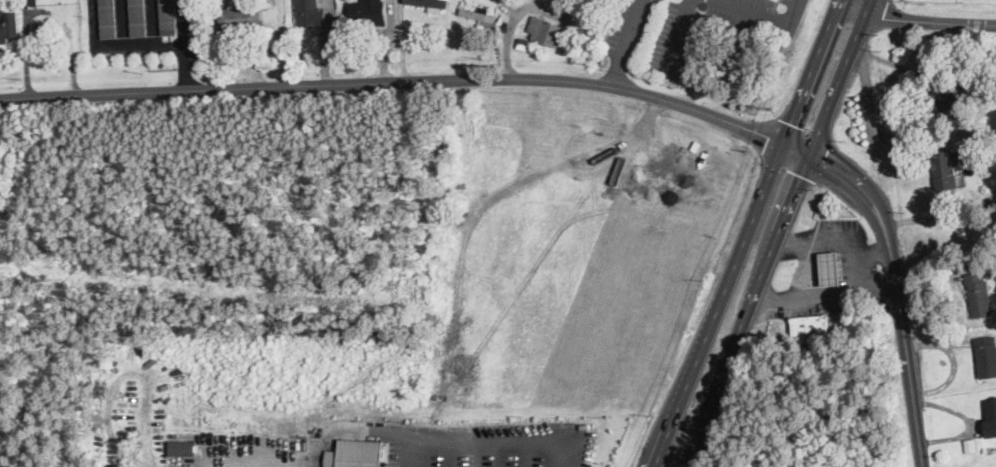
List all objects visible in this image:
building: (29, 2)
building: (427, 3)
road: (835, 5)
building: (477, 11)
building: (367, 12)
building: (309, 13)
road: (515, 14)
building: (167, 16)
building: (137, 17)
building: (106, 18)
building: (240, 18)
road: (914, 19)
road: (769, 20)
road: (152, 21)
road: (183, 21)
road: (122, 22)
building: (8, 25)
building: (546, 30)
road: (674, 36)
road: (402, 40)
road: (388, 41)
road: (281, 42)
road: (626, 42)
road: (116, 44)
road: (185, 65)
road: (397, 81)
building: (952, 95)
traffic signals: (791, 123)
traffic signals: (768, 136)
road: (797, 148)
traffic signals: (823, 161)
building: (946, 166)
traffic signals: (801, 175)
road: (854, 183)
road: (777, 233)
road: (744, 239)
road: (872, 255)
building: (831, 267)
road: (809, 268)
road: (855, 276)
road: (876, 282)
building: (979, 292)
building: (810, 327)
road: (905, 346)
building: (986, 354)
building: (990, 416)
road: (481, 437)
building: (181, 447)
road: (315, 450)
road: (484, 452)
building: (355, 453)

